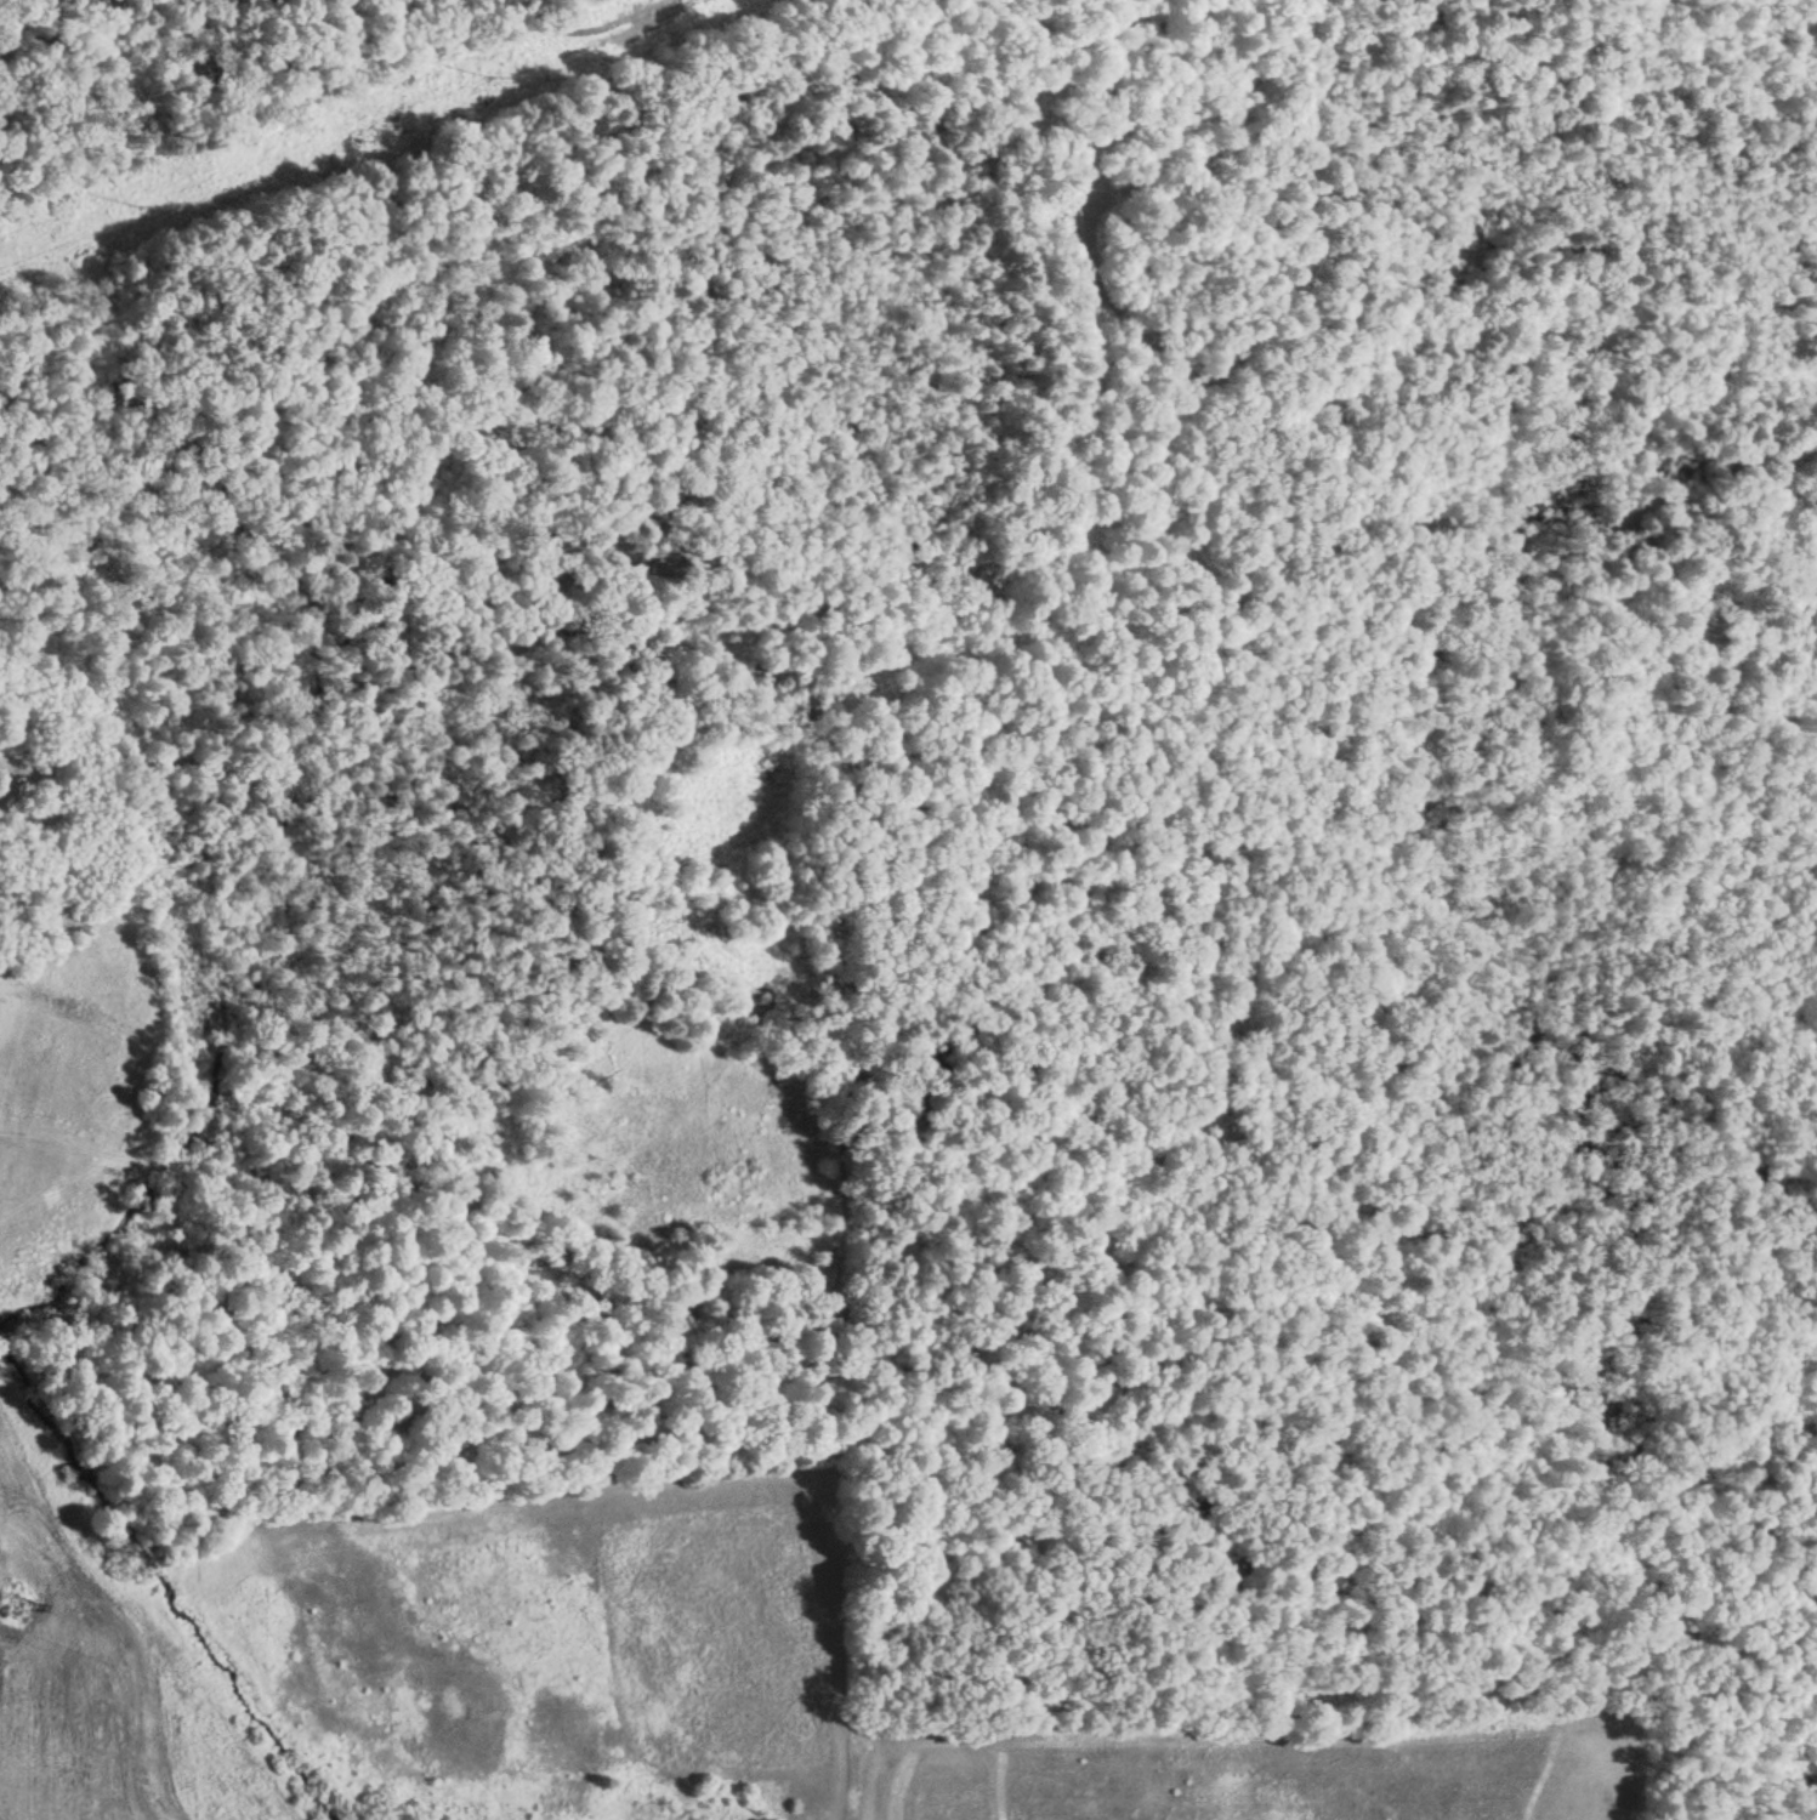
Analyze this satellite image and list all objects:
power tower: (15, 1603)

